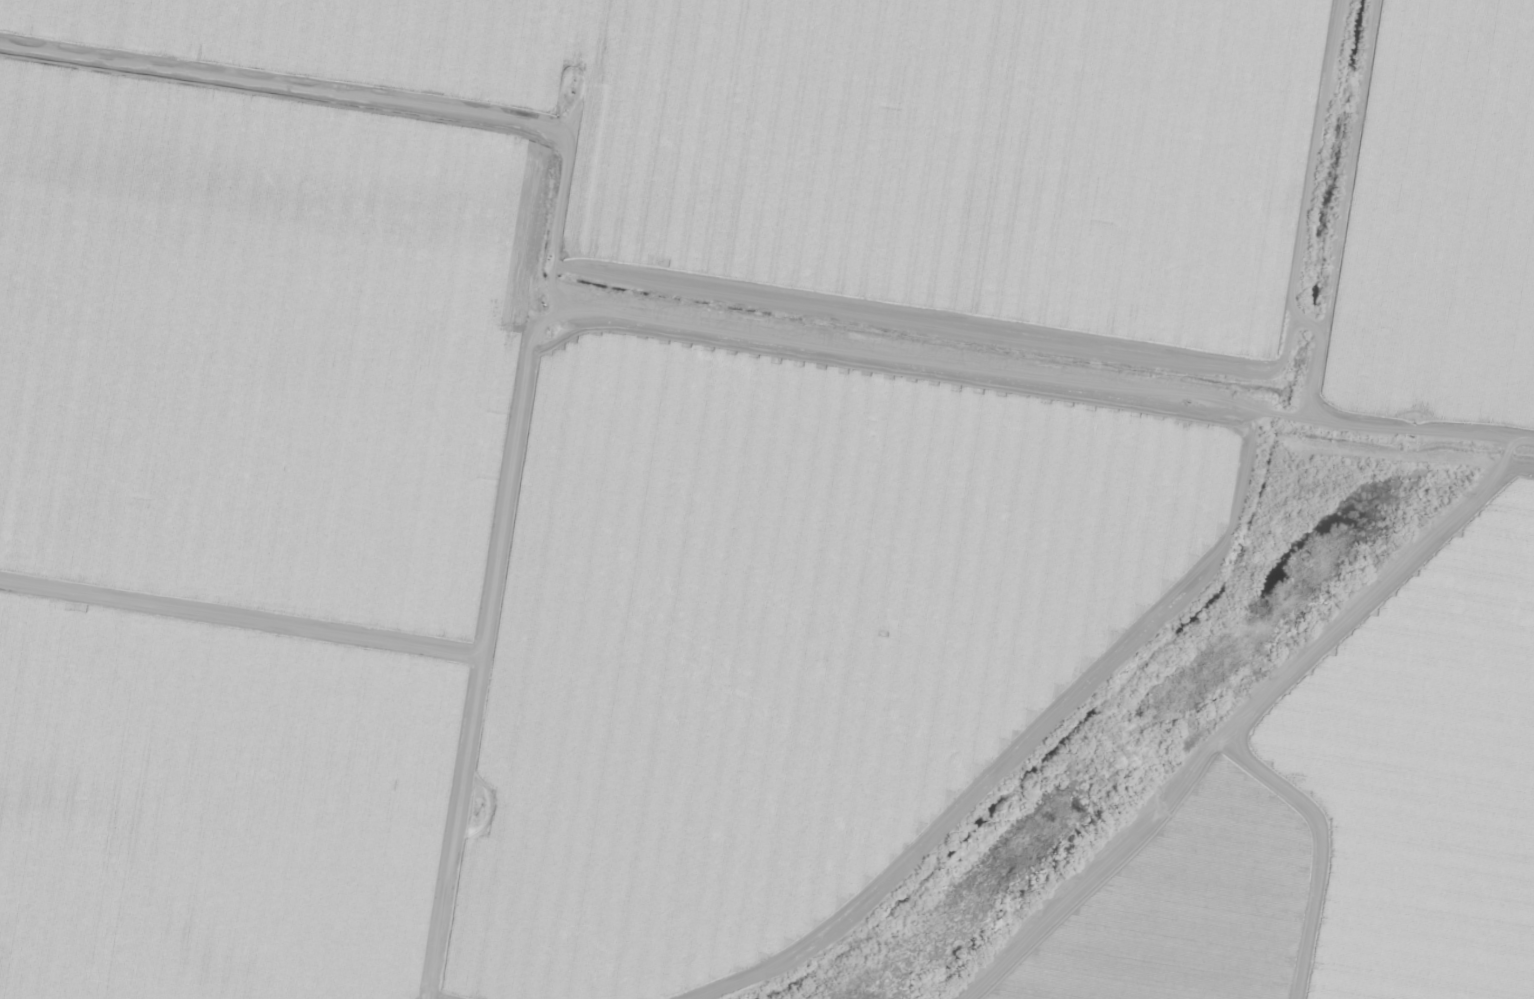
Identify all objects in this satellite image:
road: (770, 297)
road: (494, 650)
road: (1234, 734)

